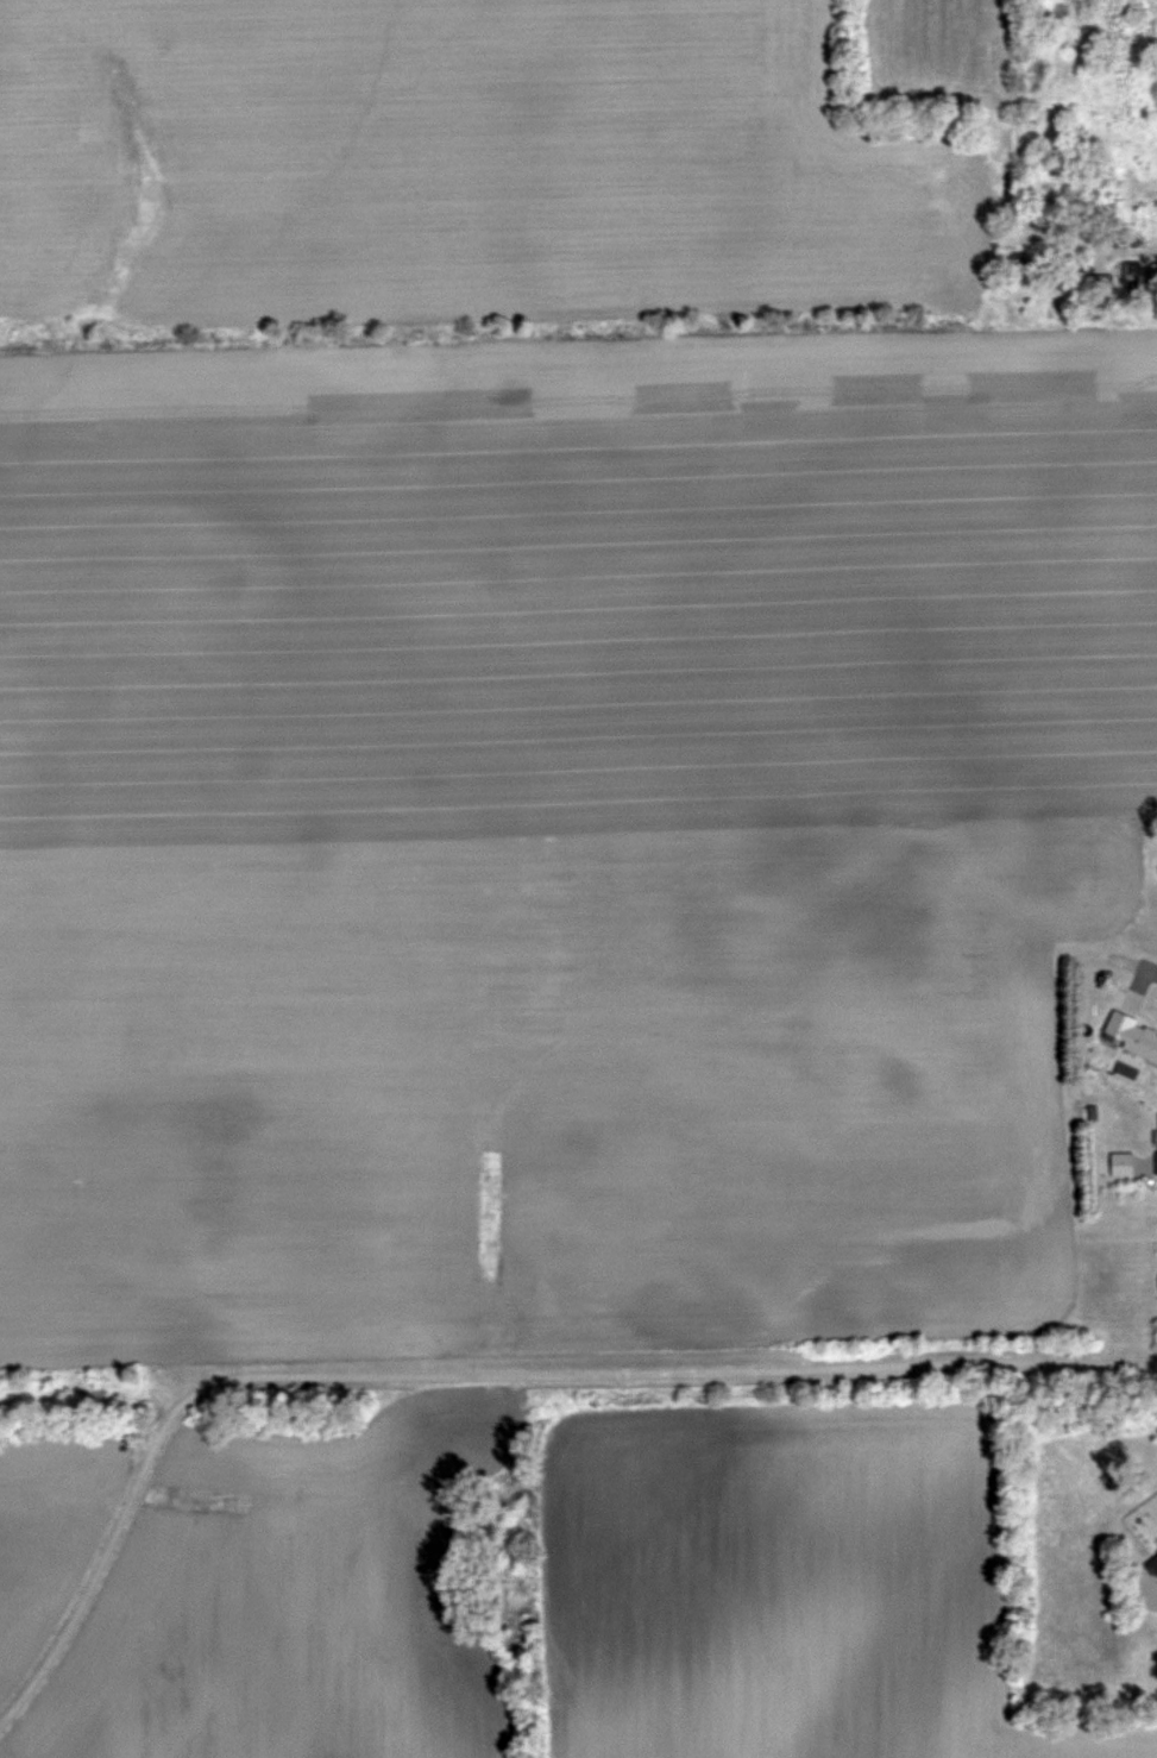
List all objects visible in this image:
road: (1126, 245)
building: (1017, 263)
building: (1142, 278)
building: (1101, 284)
road: (1119, 979)
building: (1131, 1036)
road: (482, 1379)
building: (1152, 1562)

